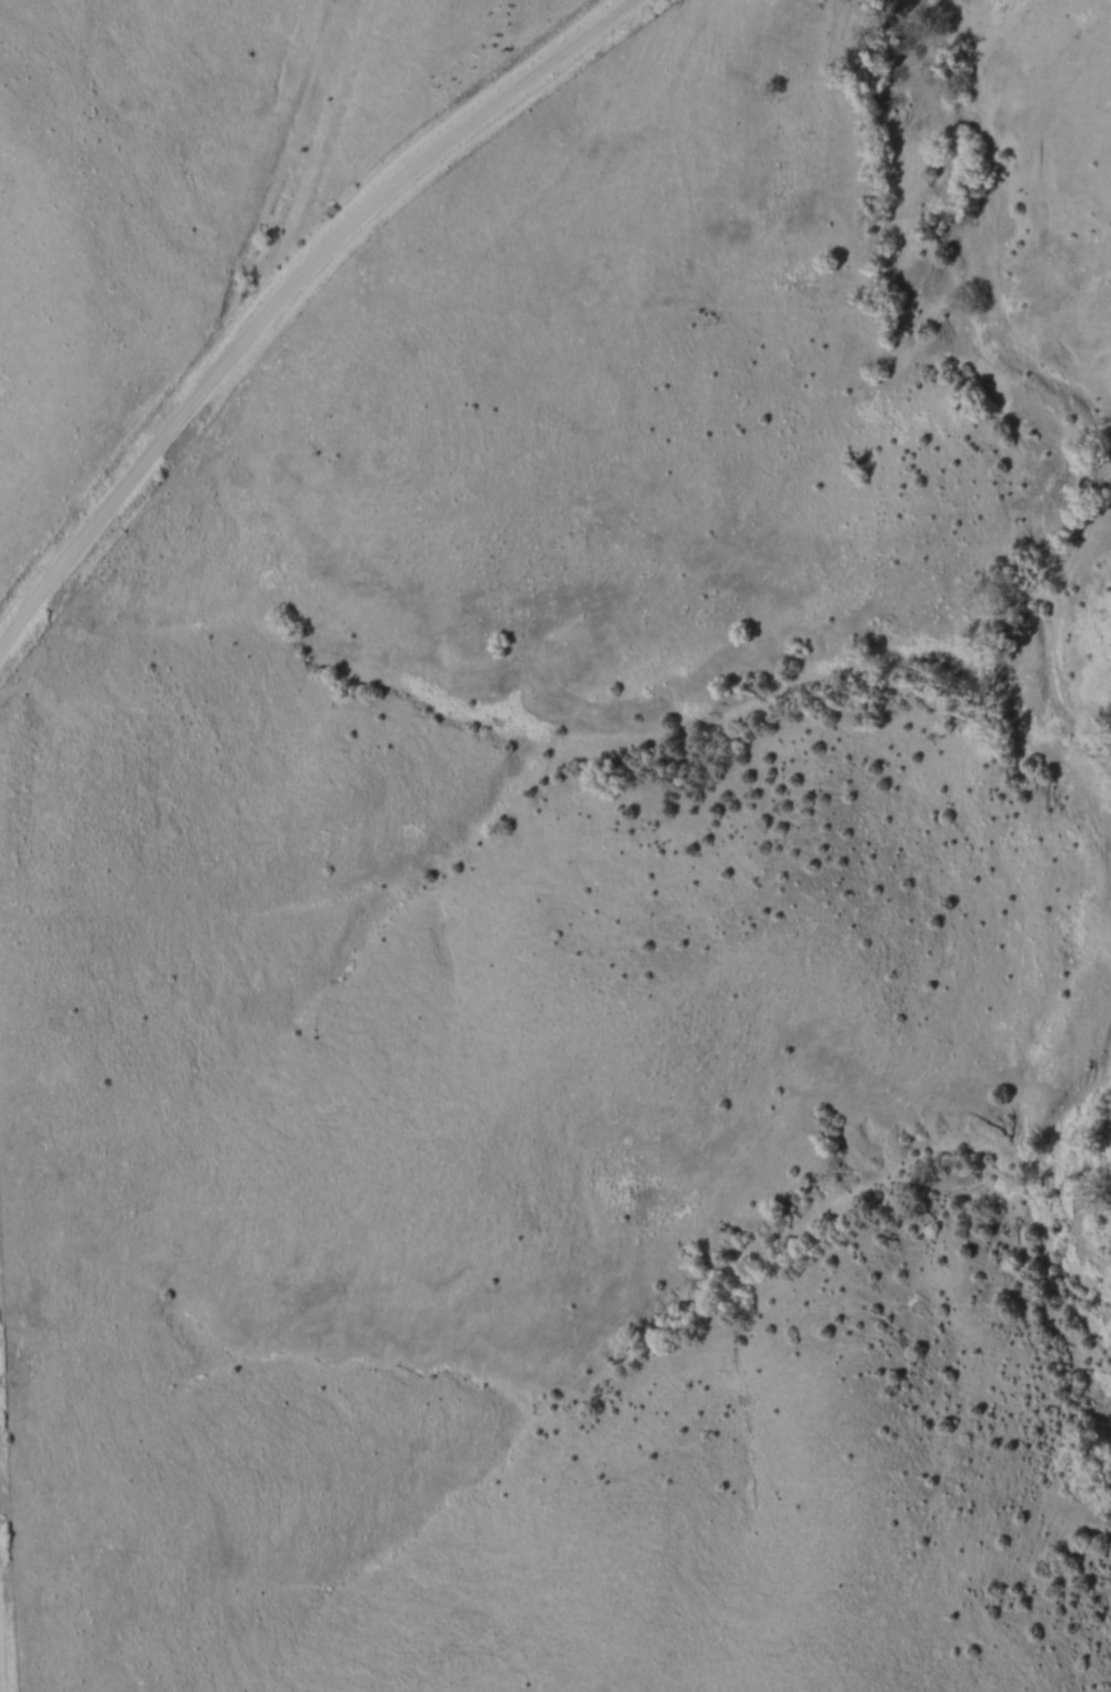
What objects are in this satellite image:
road: (284, 292)

